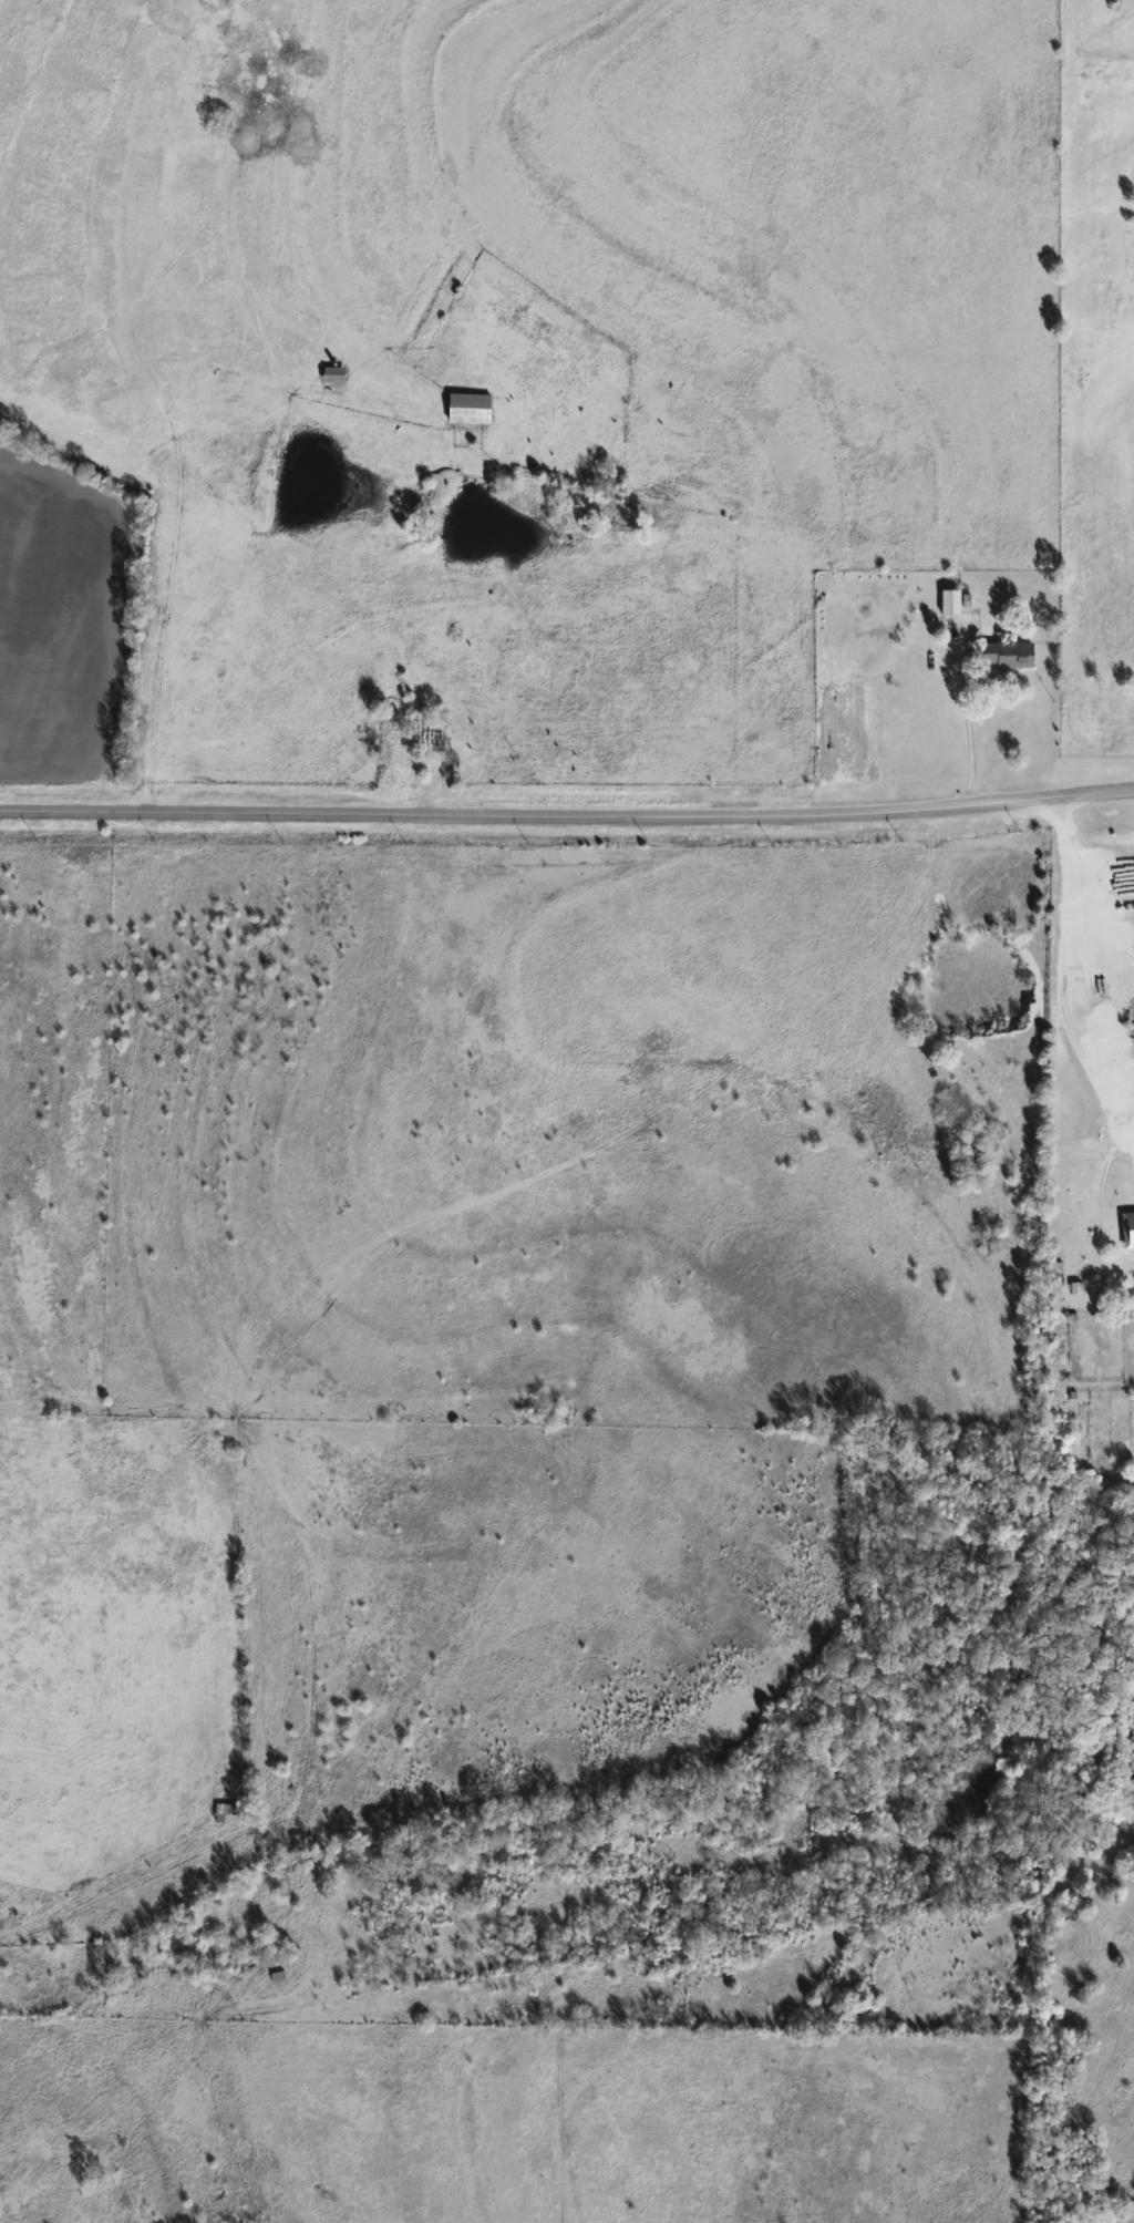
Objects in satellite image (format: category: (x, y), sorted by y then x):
building: (334, 373)
building: (471, 406)
building: (953, 601)
crop: (60, 616)
building: (1011, 655)
road: (967, 731)
building: (404, 773)
road: (567, 813)
road: (1080, 961)
building: (1127, 1228)
building: (226, 1809)

